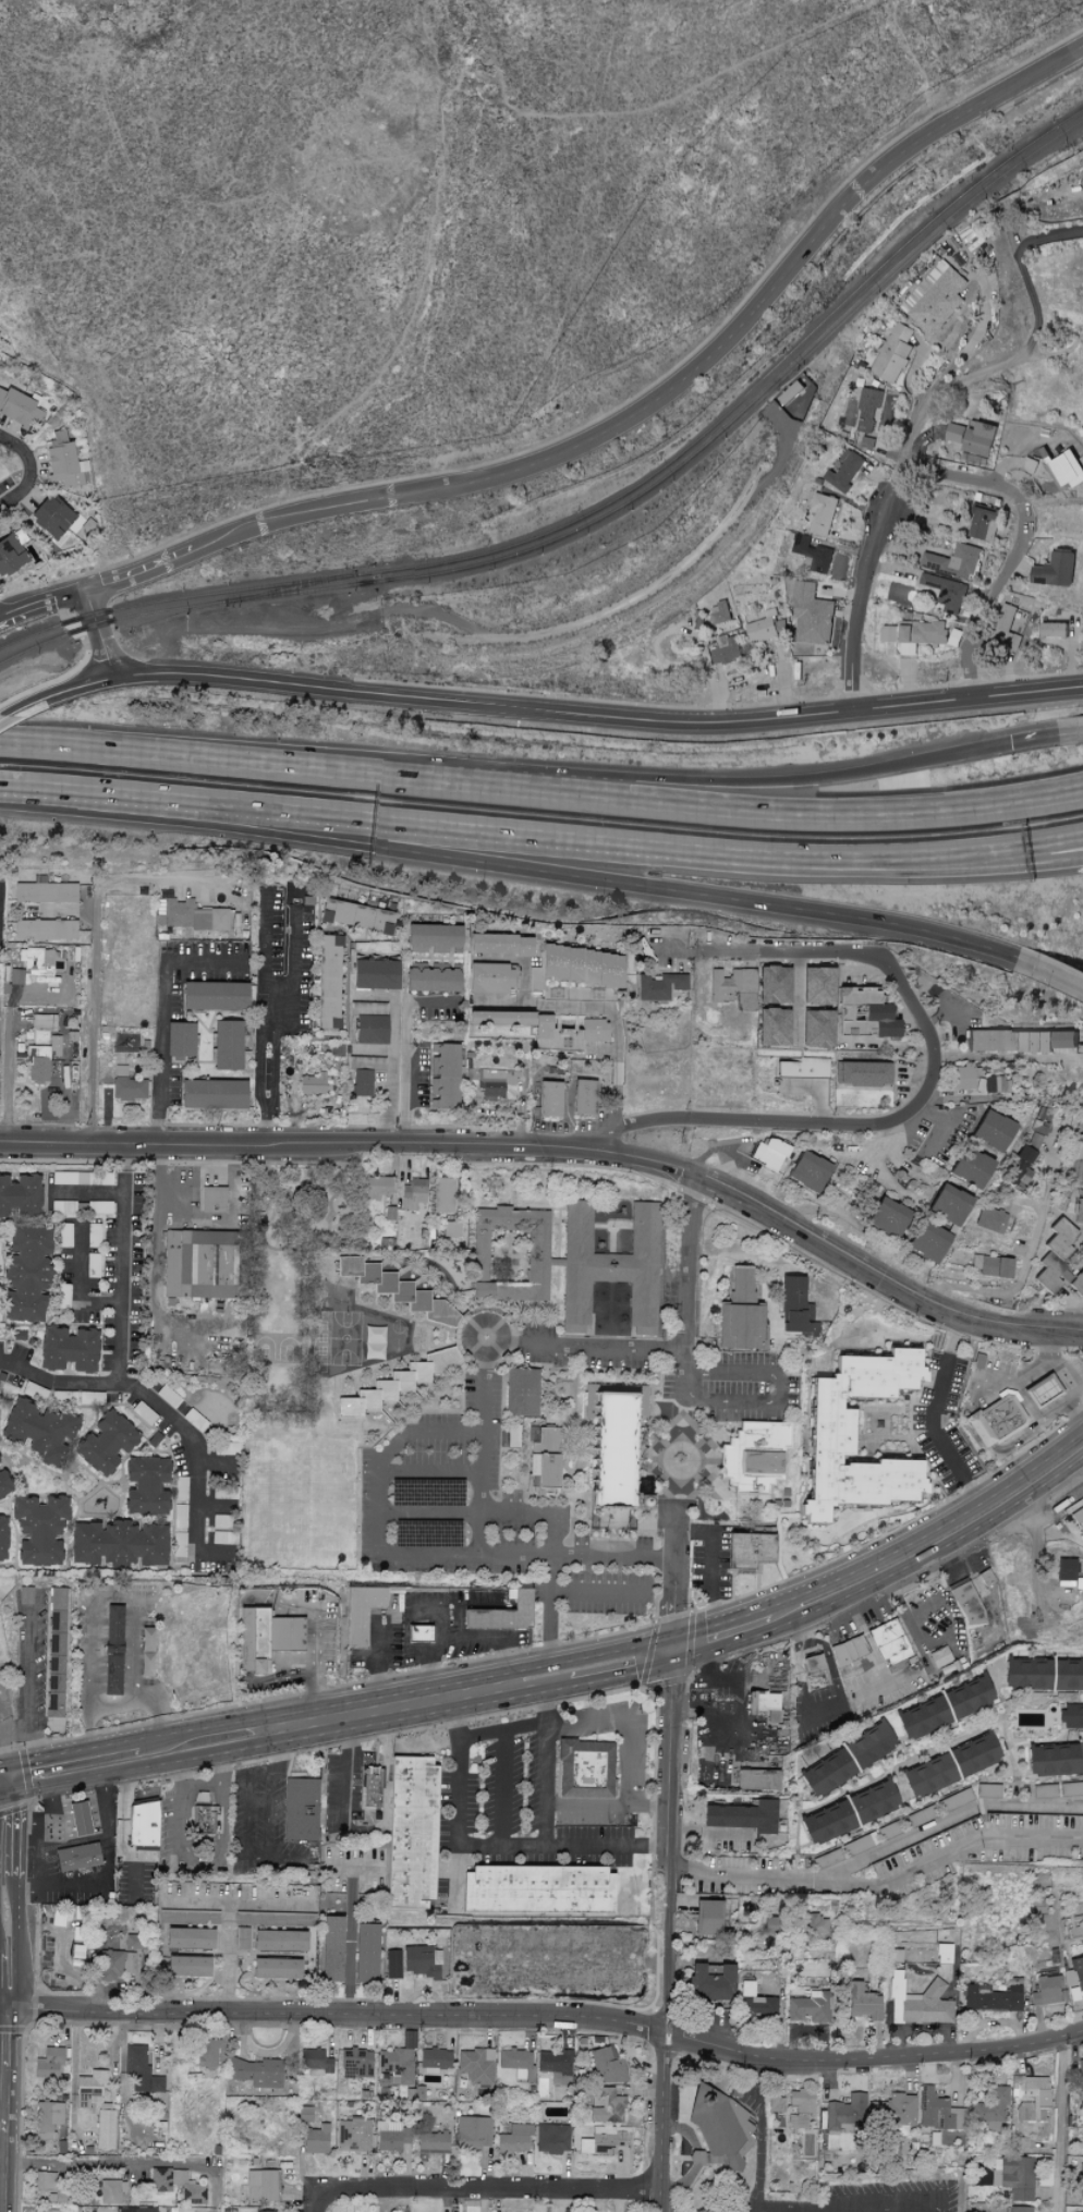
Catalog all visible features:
road: (1024, 269)
building: (936, 296)
road: (1069, 341)
building: (895, 352)
building: (869, 408)
building: (20, 409)
road: (605, 424)
building: (974, 435)
building: (868, 440)
building: (64, 462)
building: (1032, 463)
building: (1069, 466)
building: (845, 469)
road: (27, 473)
road: (964, 477)
road: (902, 482)
railway: (601, 505)
building: (824, 512)
railway: (601, 515)
building: (51, 516)
building: (985, 520)
building: (814, 551)
building: (10, 555)
building: (954, 559)
building: (1057, 568)
railway: (292, 586)
building: (947, 591)
road: (988, 596)
building: (721, 610)
building: (814, 618)
building: (1006, 622)
building: (764, 625)
building: (1055, 628)
building: (890, 631)
road: (99, 633)
building: (922, 633)
building: (956, 635)
building: (728, 649)
road: (288, 679)
road: (828, 707)
road: (3, 718)
road: (1048, 736)
road: (227, 761)
road: (734, 780)
road: (117, 794)
road: (768, 805)
road: (552, 837)
road: (978, 849)
road: (978, 861)
road: (626, 879)
building: (45, 891)
building: (188, 915)
building: (356, 915)
building: (44, 929)
building: (434, 938)
building: (500, 945)
road: (264, 947)
road: (94, 948)
road: (707, 949)
road: (815, 951)
road: (521, 961)
building: (36, 962)
building: (560, 962)
building: (601, 969)
road: (1051, 969)
building: (374, 974)
building: (16, 976)
building: (431, 977)
building: (489, 977)
building: (535, 979)
building: (328, 981)
building: (774, 985)
building: (817, 985)
building: (658, 986)
building: (733, 987)
building: (215, 996)
road: (947, 1007)
road: (605, 1008)
building: (864, 1013)
building: (499, 1018)
building: (42, 1021)
road: (276, 1022)
building: (772, 1028)
building: (369, 1030)
building: (594, 1030)
building: (816, 1030)
building: (553, 1035)
building: (180, 1040)
building: (1020, 1040)
building: (227, 1045)
road: (404, 1047)
road: (7, 1056)
road: (1006, 1059)
building: (40, 1061)
building: (803, 1067)
building: (120, 1070)
building: (864, 1073)
building: (443, 1075)
building: (962, 1077)
building: (488, 1082)
building: (316, 1083)
building: (361, 1083)
building: (996, 1084)
building: (129, 1089)
building: (212, 1094)
building: (584, 1097)
building: (549, 1098)
road: (158, 1114)
road: (949, 1123)
road: (837, 1125)
building: (1037, 1129)
building: (993, 1131)
building: (1081, 1135)
road: (560, 1150)
building: (769, 1154)
road: (880, 1155)
building: (971, 1168)
building: (808, 1171)
building: (82, 1178)
building: (377, 1187)
building: (413, 1194)
building: (442, 1195)
building: (20, 1196)
building: (212, 1200)
building: (949, 1204)
building: (63, 1206)
building: (1079, 1206)
road: (826, 1207)
building: (887, 1217)
building: (994, 1220)
building: (451, 1229)
building: (927, 1242)
building: (538, 1248)
building: (1081, 1249)
building: (1055, 1255)
road: (121, 1263)
building: (197, 1264)
building: (991, 1266)
building: (609, 1267)
building: (26, 1273)
building: (1076, 1283)
road: (75, 1285)
road: (686, 1285)
building: (396, 1289)
road: (1009, 1293)
building: (796, 1309)
building: (741, 1315)
building: (320, 1322)
park: (301, 1338)
building: (374, 1342)
road: (585, 1344)
building: (68, 1350)
road: (1029, 1374)
building: (397, 1384)
road: (1064, 1387)
road: (778, 1388)
building: (1041, 1391)
building: (521, 1393)
road: (170, 1417)
building: (994, 1421)
building: (38, 1430)
building: (831, 1433)
building: (513, 1436)
road: (937, 1438)
building: (106, 1443)
road: (483, 1447)
road: (681, 1447)
building: (753, 1457)
building: (545, 1458)
road: (429, 1473)
building: (3, 1483)
building: (145, 1486)
road: (428, 1514)
building: (1078, 1519)
building: (221, 1520)
building: (38, 1528)
road: (376, 1535)
building: (3, 1538)
building: (222, 1538)
road: (932, 1542)
building: (118, 1543)
road: (552, 1549)
building: (749, 1551)
road: (614, 1558)
road: (713, 1565)
building: (1064, 1570)
road: (676, 1573)
road: (600, 1593)
building: (25, 1594)
road: (114, 1597)
building: (966, 1603)
road: (406, 1607)
road: (925, 1607)
building: (361, 1612)
building: (502, 1614)
road: (790, 1629)
road: (910, 1631)
building: (419, 1632)
road: (721, 1632)
building: (266, 1636)
road: (464, 1636)
road: (315, 1638)
building: (890, 1641)
building: (112, 1649)
traffic signals: (673, 1649)
road: (871, 1649)
building: (849, 1650)
building: (56, 1652)
road: (381, 1654)
building: (940, 1656)
building: (812, 1662)
building: (1026, 1673)
building: (1067, 1674)
road: (29, 1676)
road: (624, 1677)
road: (285, 1679)
road: (709, 1680)
road: (405, 1686)
road: (869, 1692)
building: (968, 1697)
road: (111, 1701)
building: (763, 1701)
road: (833, 1702)
building: (1071, 1715)
building: (921, 1716)
road: (501, 1728)
road: (288, 1742)
road: (623, 1742)
building: (869, 1743)
road: (82, 1749)
building: (974, 1753)
building: (1081, 1754)
road: (668, 1757)
building: (1052, 1759)
road: (16, 1761)
road: (3, 1763)
traffic signals: (7, 1763)
road: (284, 1769)
building: (585, 1769)
building: (827, 1772)
building: (929, 1774)
road: (7, 1779)
road: (346, 1779)
building: (758, 1779)
building: (370, 1786)
road: (501, 1786)
building: (1071, 1787)
building: (988, 1789)
building: (1044, 1789)
road: (3, 1796)
traffic signals: (8, 1796)
building: (956, 1799)
road: (78, 1800)
building: (874, 1800)
road: (584, 1802)
building: (300, 1808)
road: (454, 1810)
building: (203, 1813)
building: (922, 1814)
building: (742, 1815)
road: (546, 1816)
building: (80, 1818)
building: (827, 1821)
road: (948, 1821)
building: (143, 1823)
road: (23, 1825)
building: (889, 1830)
building: (411, 1832)
road: (707, 1832)
road: (39, 1834)
road: (122, 1840)
building: (856, 1845)
road: (606, 1846)
road: (951, 1851)
building: (77, 1856)
road: (259, 1858)
road: (287, 1858)
building: (827, 1858)
road: (205, 1860)
road: (354, 1868)
road: (743, 1874)
road: (105, 1881)
building: (538, 1888)
road: (195, 1900)
road: (8, 1903)
road: (3, 1916)
road: (230, 1916)
building: (708, 1916)
building: (246, 1918)
building: (770, 1924)
building: (816, 1924)
building: (188, 1937)
building: (279, 1940)
building: (134, 1941)
road: (350, 1942)
building: (331, 1947)
road: (662, 1948)
building: (366, 1952)
building: (944, 1953)
building: (421, 1961)
building: (114, 1964)
building: (392, 1964)
building: (187, 1966)
building: (277, 1968)
building: (1074, 1973)
building: (710, 1981)
building: (1046, 1990)
building: (991, 1996)
building: (863, 2002)
building: (920, 2002)
building: (755, 2003)
building: (808, 2007)
road: (330, 2015)
building: (208, 2053)
road: (872, 2056)
building: (435, 2058)
building: (515, 2061)
building: (315, 2062)
building: (48, 2063)
building: (356, 2063)
building: (476, 2065)
building: (553, 2065)
building: (606, 2065)
building: (141, 2070)
building: (255, 2071)
building: (1080, 2071)
building: (89, 2088)
building: (1033, 2098)
building: (776, 2104)
building: (606, 2105)
building: (801, 2106)
building: (990, 2108)
building: (893, 2110)
building: (934, 2110)
road: (5, 2111)
building: (304, 2113)
building: (843, 2117)
building: (47, 2118)
road: (1058, 2120)
road: (659, 2123)
building: (105, 2126)
building: (718, 2128)
building: (473, 2132)
road: (762, 2132)
building: (354, 2134)
building: (391, 2135)
building: (551, 2138)
building: (316, 2139)
building: (514, 2139)
building: (433, 2140)
building: (601, 2140)
road: (129, 2164)
building: (1014, 2177)
building: (44, 2180)
building: (1081, 2180)
building: (260, 2185)
building: (193, 2187)
road: (471, 2189)
building: (60, 2190)
building: (111, 2191)
road: (851, 2202)
road: (897, 2207)
building: (136, 2209)
building: (1020, 2209)
building: (47, 2211)
building: (265, 2211)

